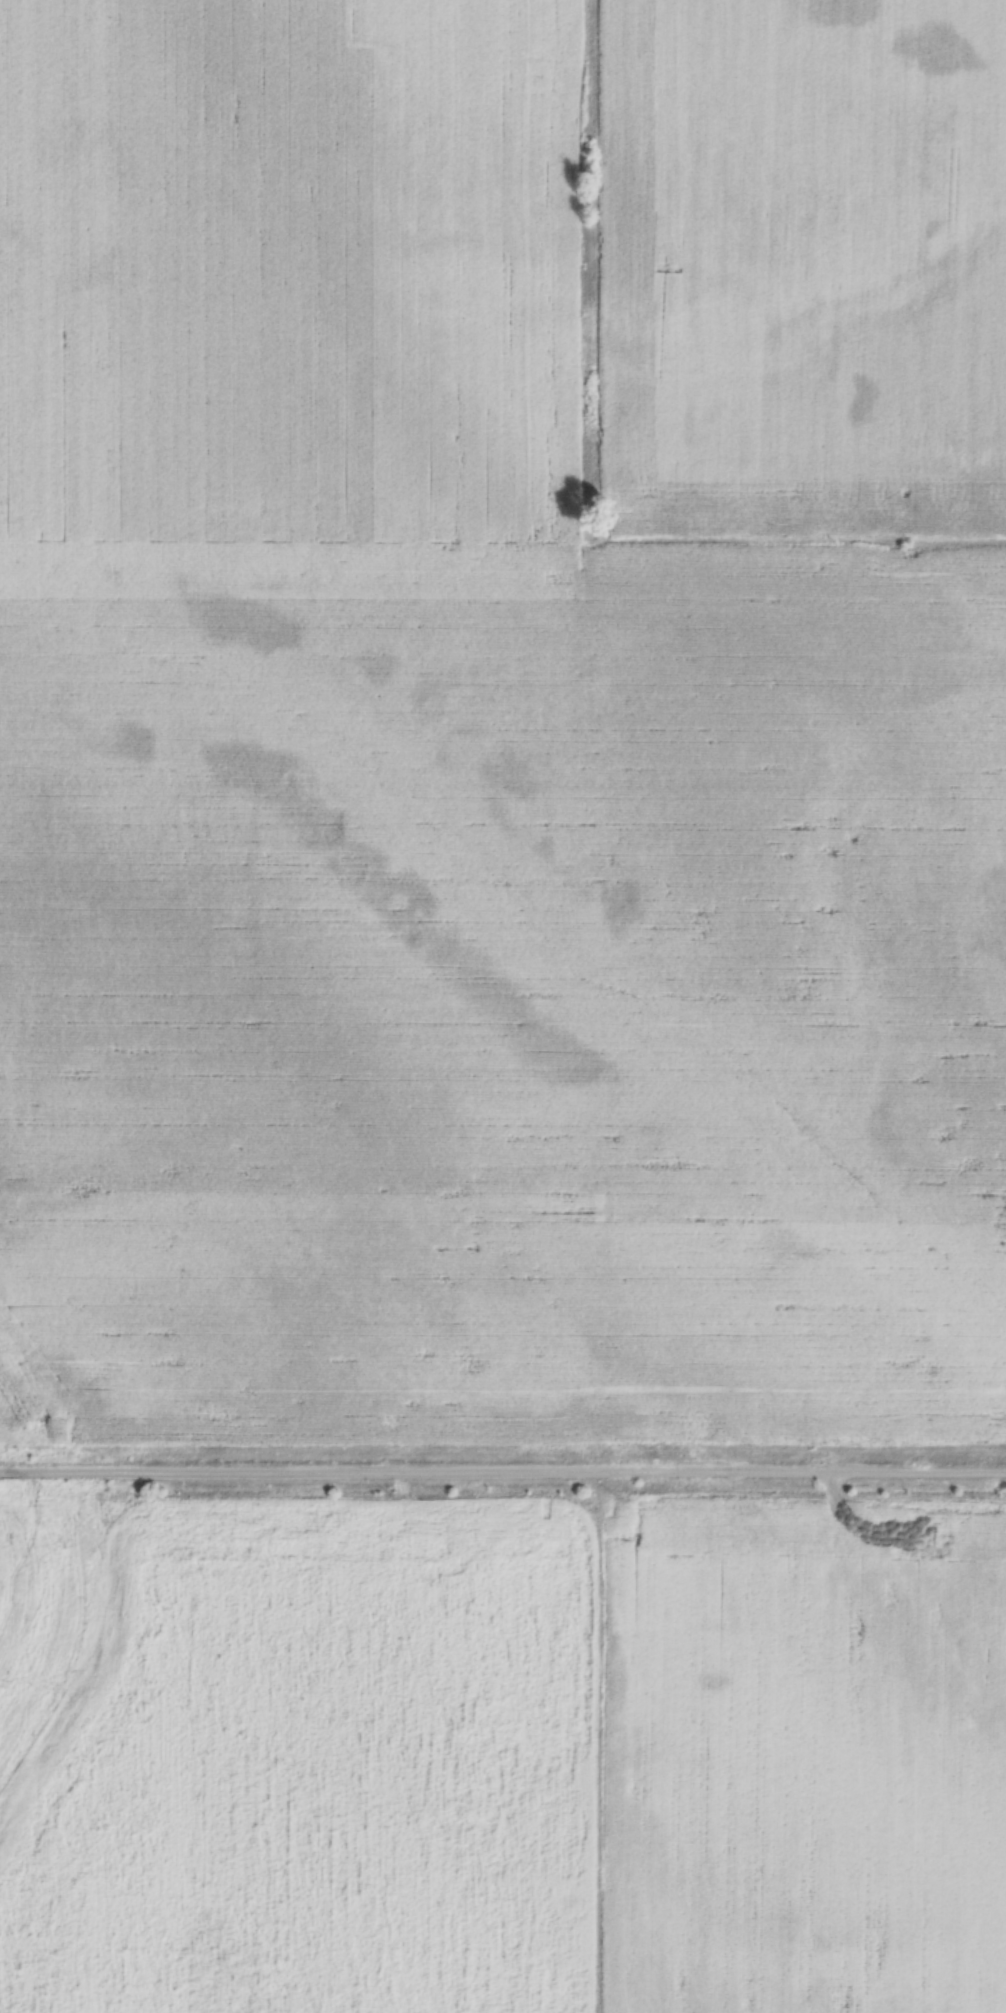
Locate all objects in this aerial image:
road: (503, 1472)

